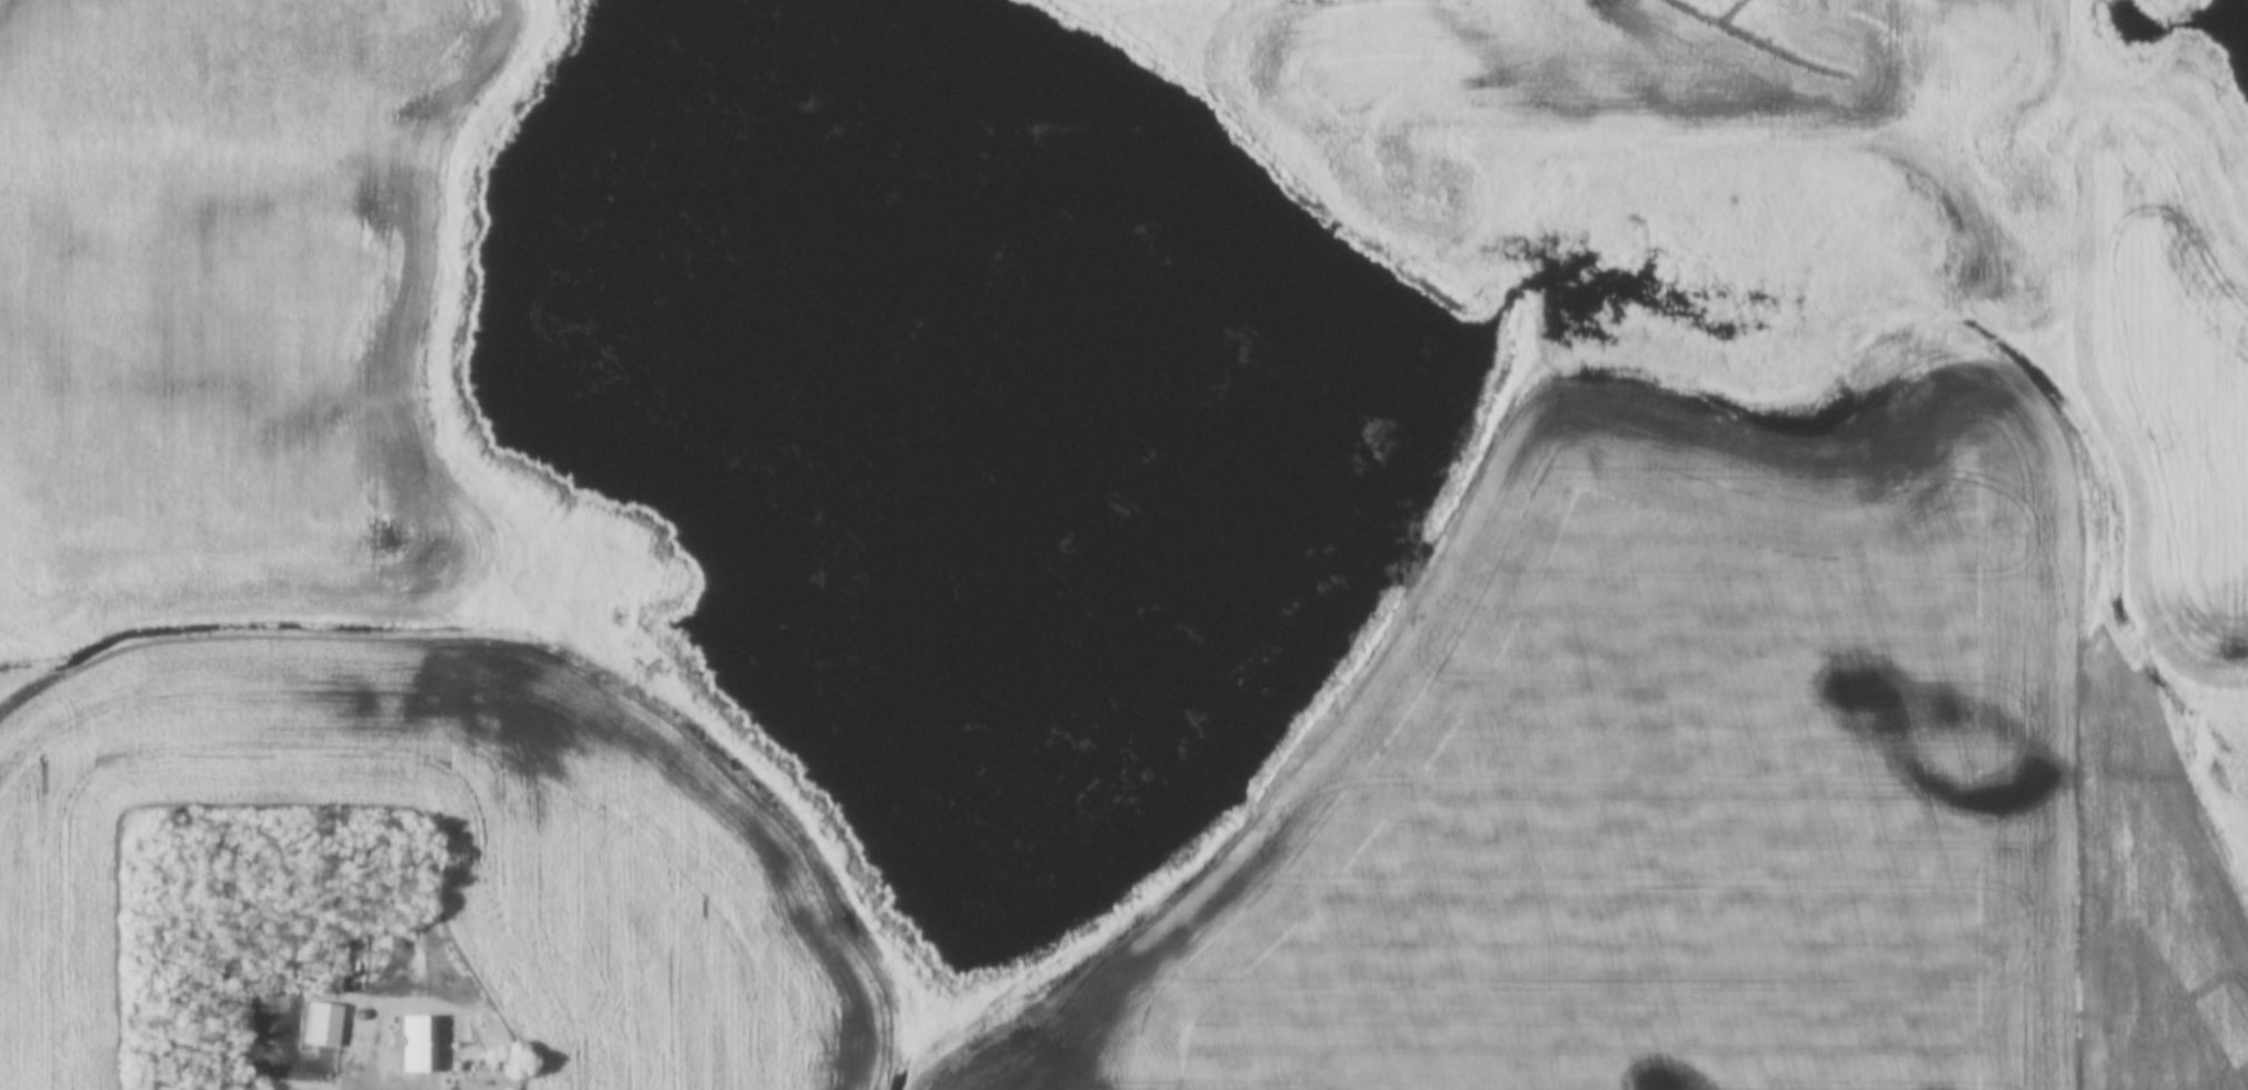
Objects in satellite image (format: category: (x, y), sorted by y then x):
building: (320, 1028)
building: (421, 1047)
road: (421, 1088)

